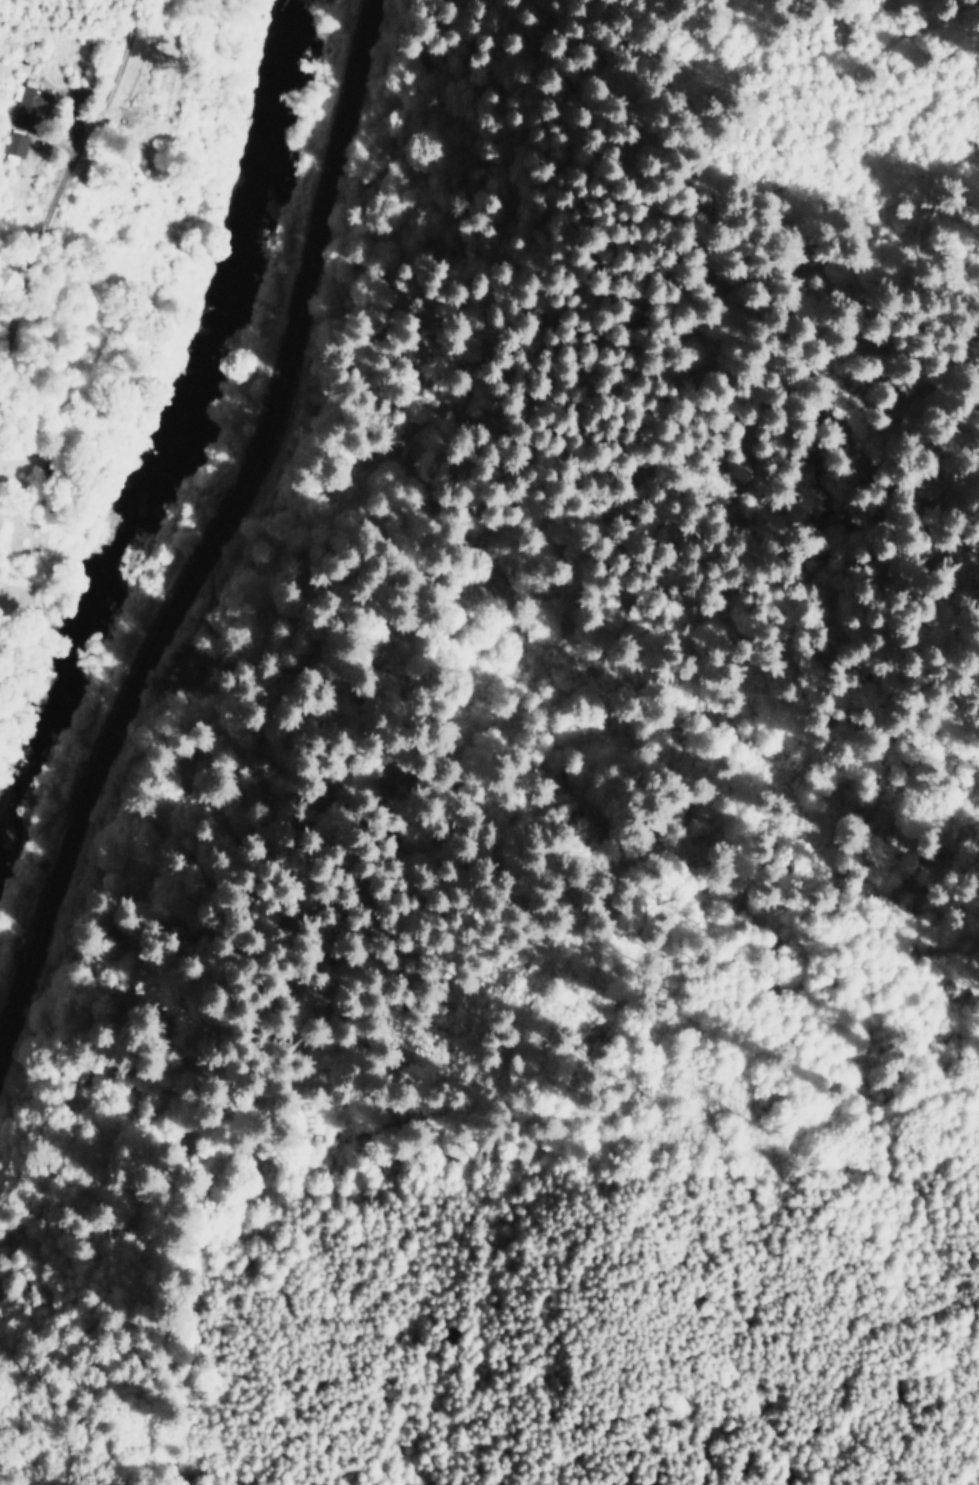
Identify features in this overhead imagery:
building: (12, 147)
river: (158, 444)
road: (220, 532)
road: (15, 588)

